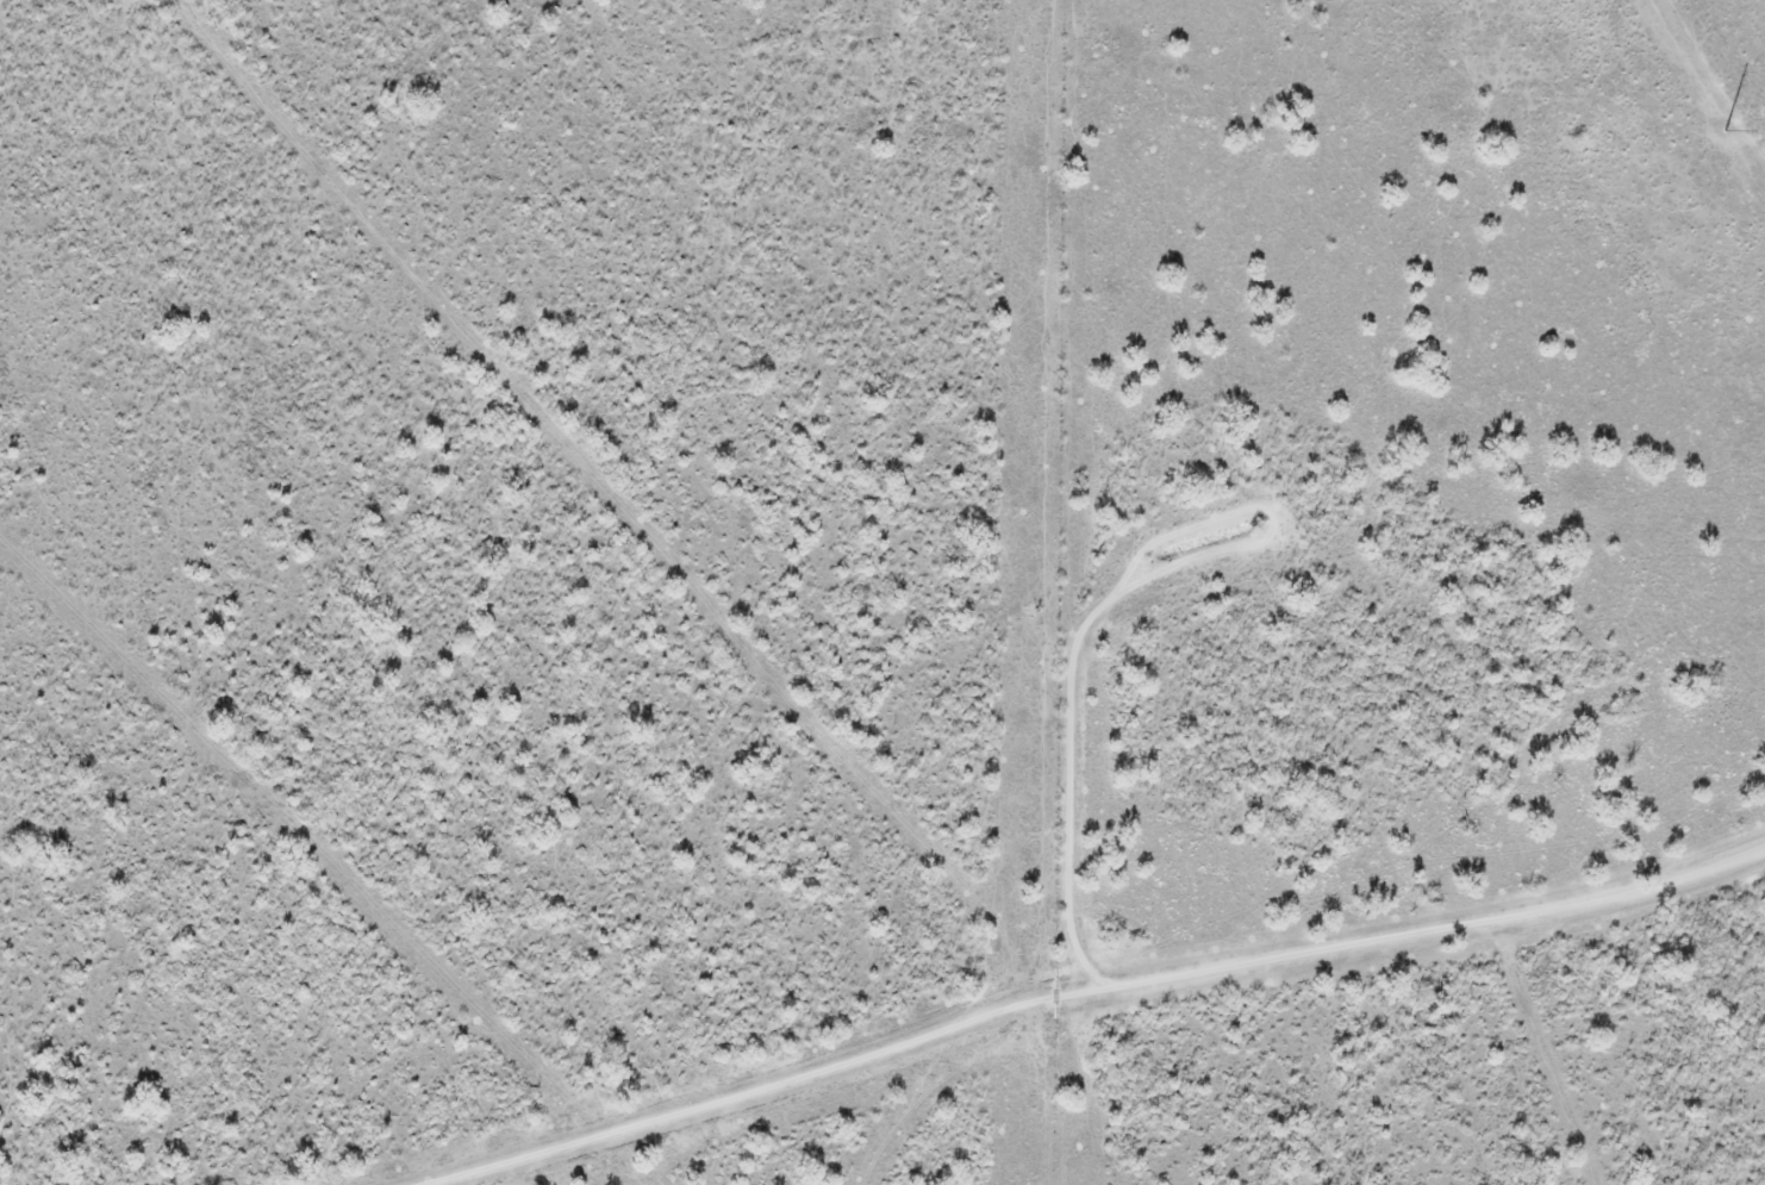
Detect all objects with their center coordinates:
power tower: (1726, 131)
road: (1078, 999)
road: (891, 1119)

